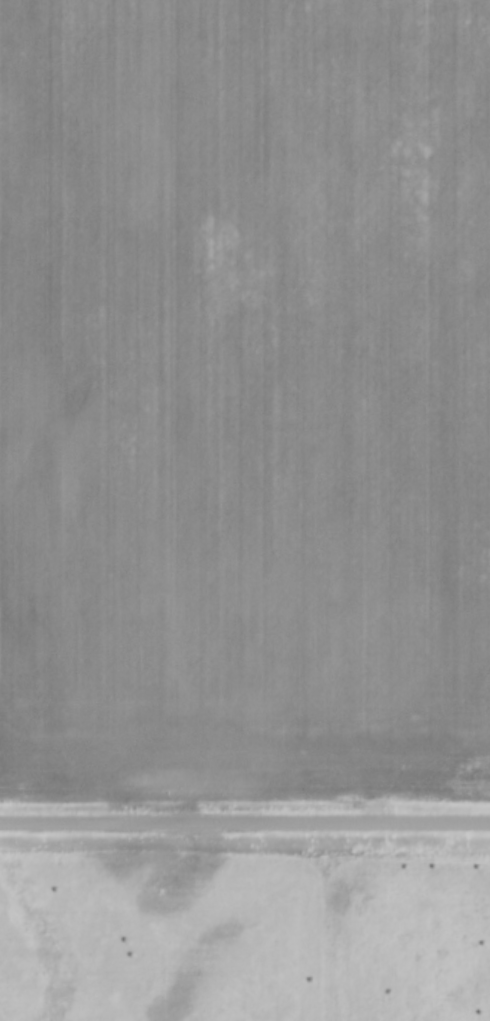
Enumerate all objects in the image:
road: (245, 818)

